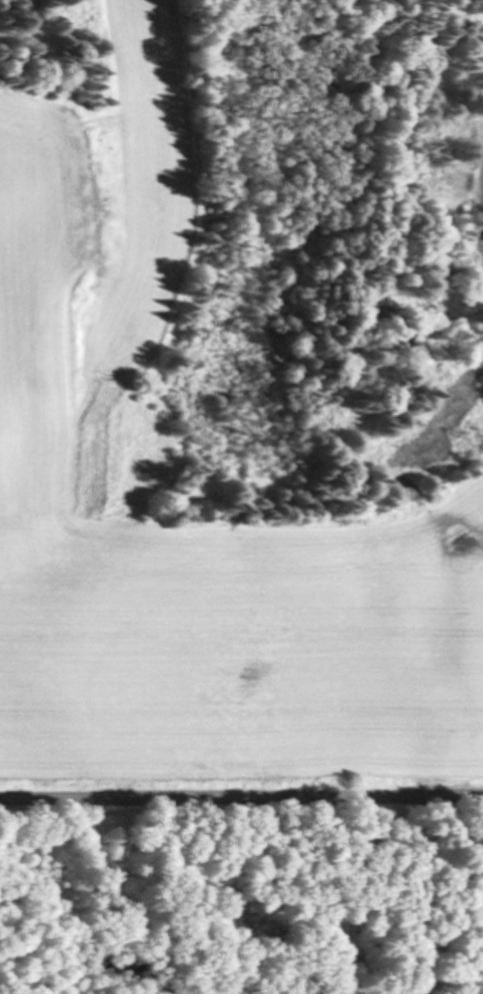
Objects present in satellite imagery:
road: (241, 797)

